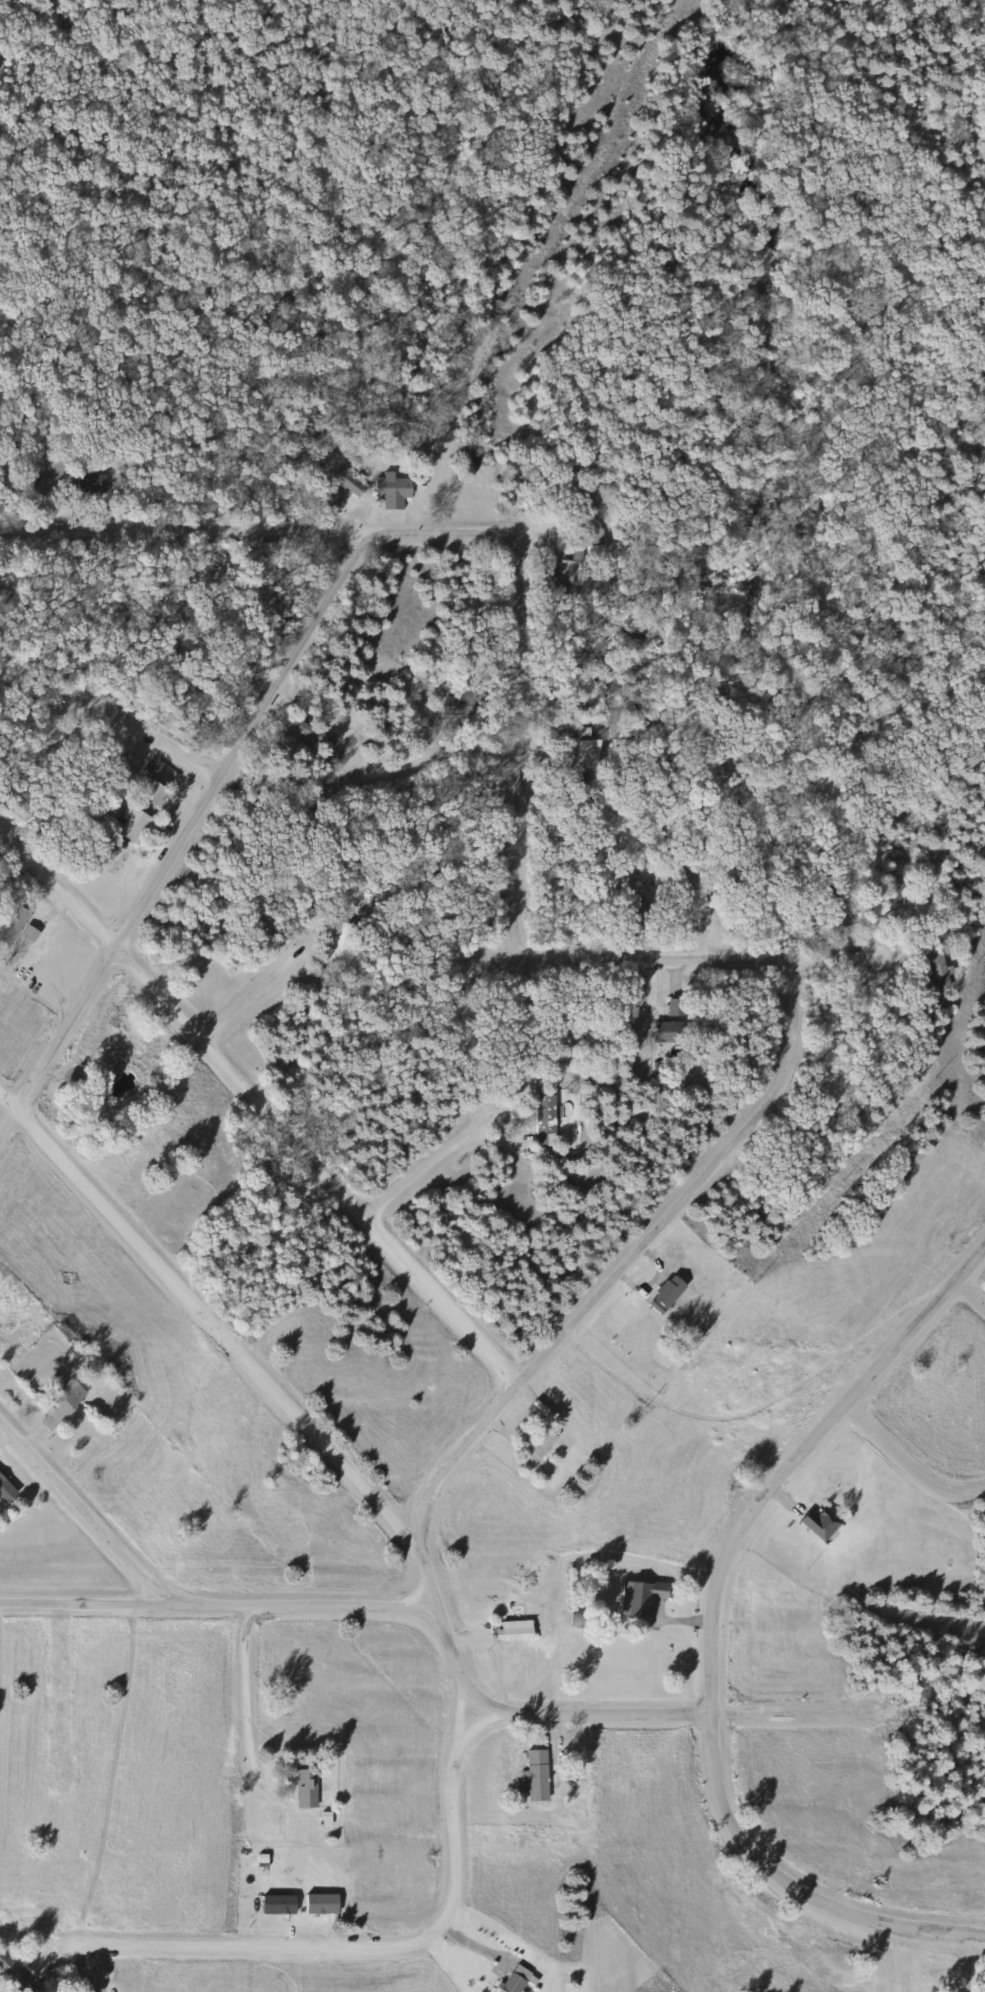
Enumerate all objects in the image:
building: (47, 477)
building: (88, 482)
building: (346, 483)
building: (390, 491)
building: (449, 705)
building: (310, 733)
road: (130, 734)
building: (585, 752)
road: (434, 758)
building: (151, 794)
building: (128, 826)
road: (184, 836)
building: (891, 884)
building: (686, 900)
building: (837, 910)
building: (12, 926)
building: (338, 951)
road: (856, 954)
building: (934, 972)
road: (261, 991)
road: (796, 998)
building: (663, 1031)
road: (262, 1102)
building: (541, 1120)
road: (431, 1165)
building: (663, 1294)
road: (209, 1320)
road: (960, 1327)
building: (60, 1403)
building: (536, 1445)
road: (909, 1450)
building: (5, 1490)
road: (84, 1511)
building: (817, 1524)
building: (638, 1597)
road: (220, 1605)
building: (510, 1633)
road: (717, 1634)
road: (60, 1701)
road: (245, 1712)
road: (484, 1723)
building: (534, 1775)
building: (303, 1789)
building: (319, 1904)
building: (275, 1905)
road: (383, 1947)
road: (969, 1961)
building: (15, 1974)
building: (514, 1980)

